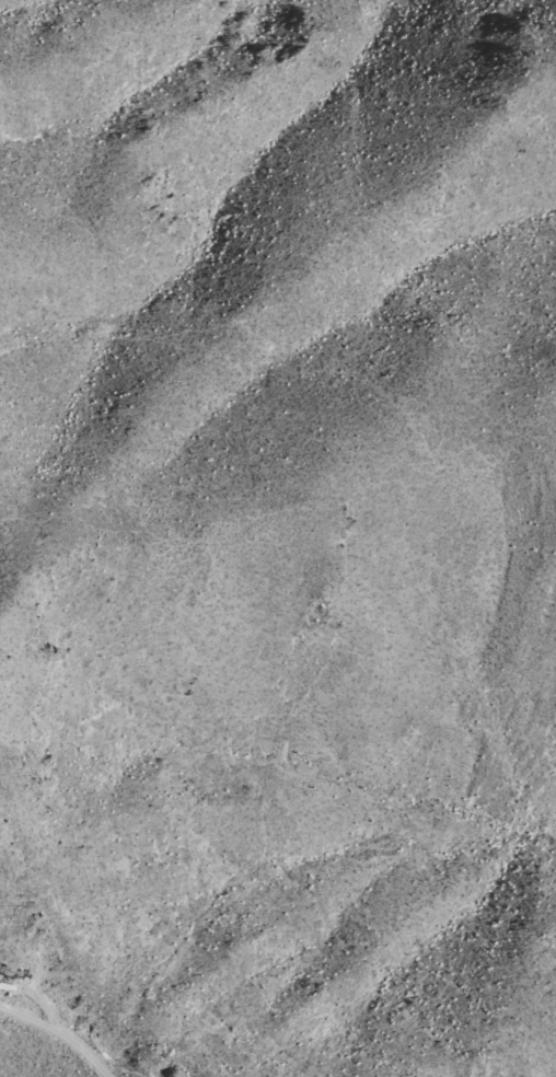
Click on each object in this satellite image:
road: (53, 1037)

